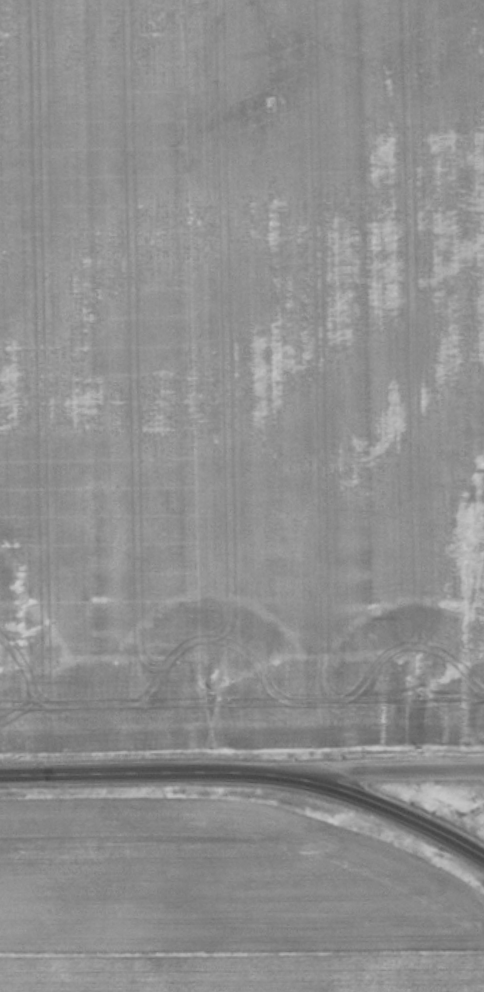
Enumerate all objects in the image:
road: (397, 769)
road: (250, 771)

